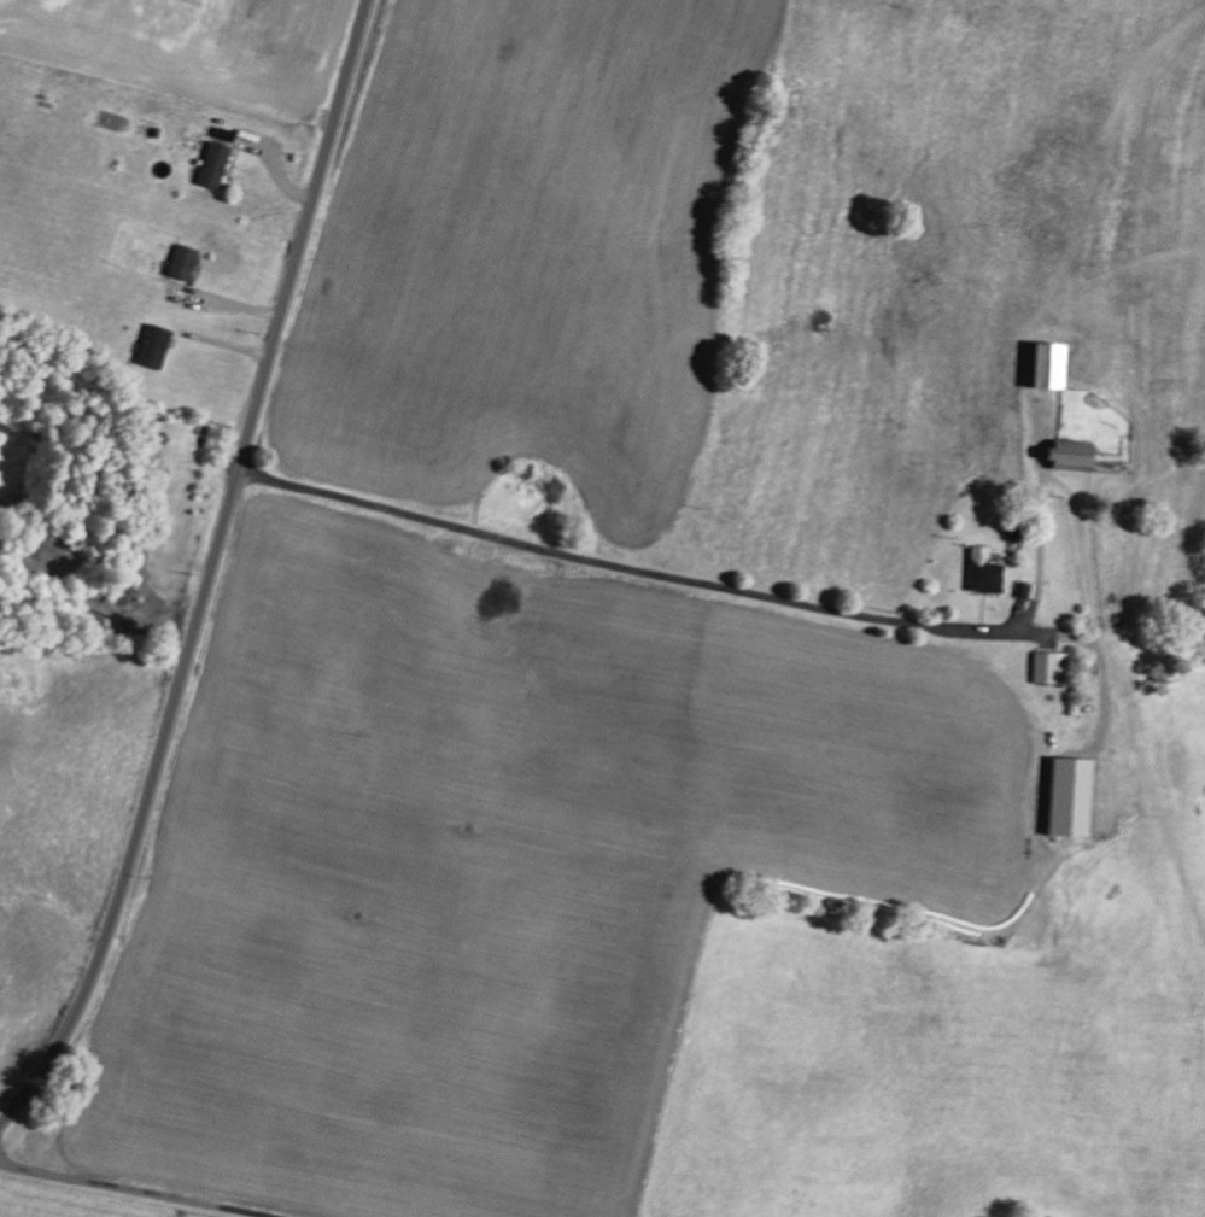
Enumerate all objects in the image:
building: (211, 163)
building: (181, 261)
building: (152, 345)
building: (1047, 363)
building: (1069, 454)
building: (981, 571)
road: (209, 572)
building: (1047, 666)
building: (1067, 796)
road: (130, 1190)

